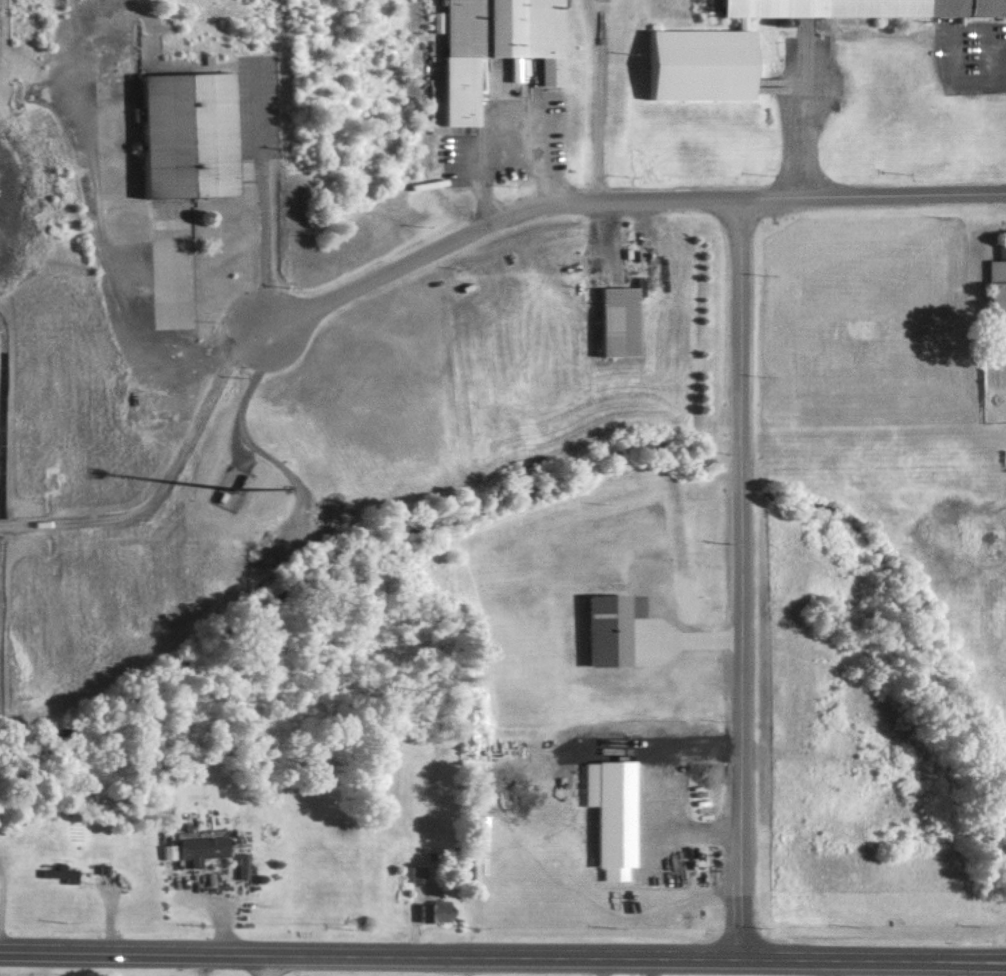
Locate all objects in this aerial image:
building: (503, 32)
building: (692, 64)
road: (495, 133)
building: (181, 134)
road: (261, 196)
road: (623, 198)
building: (993, 281)
road: (109, 294)
building: (608, 322)
road: (246, 389)
road: (165, 475)
road: (739, 577)
building: (603, 629)
road: (691, 638)
road: (695, 832)
building: (194, 848)
building: (55, 872)
building: (415, 872)
building: (431, 910)
road: (502, 955)
road: (194, 964)
road: (268, 964)

